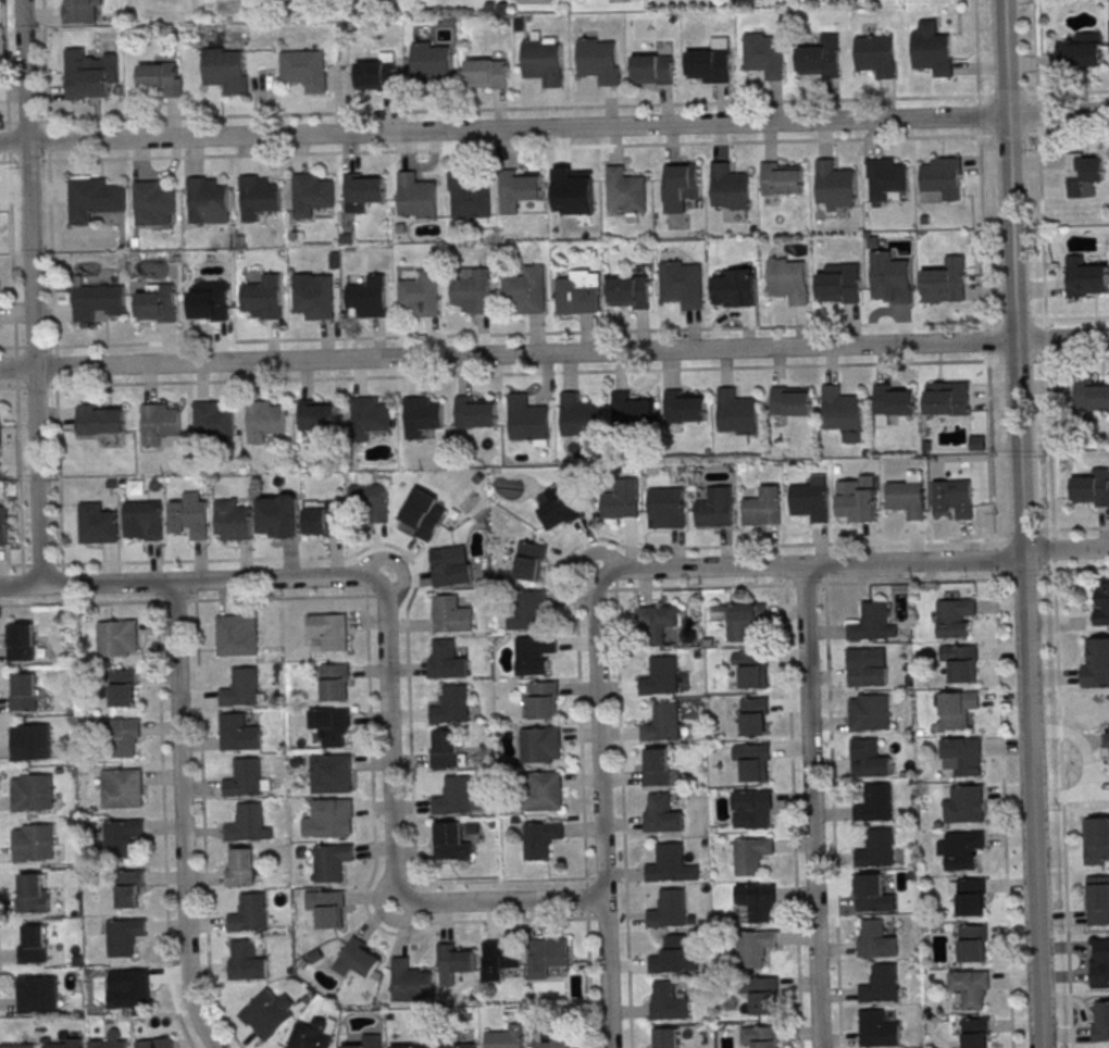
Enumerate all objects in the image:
building: (82, 11)
building: (932, 50)
road: (1035, 50)
road: (975, 51)
building: (1080, 51)
building: (763, 54)
building: (875, 54)
building: (820, 58)
road: (43, 60)
building: (599, 61)
building: (711, 62)
building: (544, 63)
building: (432, 64)
building: (652, 67)
building: (304, 68)
building: (225, 70)
building: (486, 73)
building: (376, 74)
building: (161, 77)
road: (4, 80)
building: (87, 83)
road: (1073, 92)
road: (1006, 93)
road: (1031, 93)
road: (983, 96)
road: (471, 109)
road: (1037, 113)
road: (977, 115)
road: (22, 121)
road: (554, 127)
road: (1073, 132)
road: (1033, 133)
road: (1008, 134)
road: (984, 136)
road: (770, 141)
road: (420, 150)
road: (3, 161)
building: (1084, 174)
building: (885, 176)
building: (780, 178)
building: (940, 179)
building: (680, 182)
building: (834, 183)
building: (728, 186)
building: (362, 189)
building: (519, 189)
building: (624, 189)
building: (571, 190)
building: (310, 195)
building: (468, 195)
building: (415, 196)
building: (259, 198)
building: (92, 199)
building: (207, 200)
building: (152, 203)
road: (982, 224)
road: (1042, 225)
road: (11, 260)
building: (889, 274)
building: (1086, 276)
building: (787, 279)
building: (681, 283)
building: (839, 283)
building: (944, 284)
building: (735, 288)
building: (525, 290)
building: (630, 290)
road: (30, 292)
building: (578, 292)
building: (472, 294)
building: (419, 295)
building: (312, 296)
building: (261, 297)
building: (366, 297)
building: (97, 300)
building: (210, 303)
building: (158, 304)
road: (1076, 317)
road: (1014, 319)
road: (1039, 319)
road: (986, 324)
road: (464, 334)
road: (1045, 338)
road: (986, 341)
road: (554, 352)
road: (1077, 358)
road: (1015, 359)
road: (1042, 359)
road: (525, 373)
road: (8, 387)
building: (1092, 395)
building: (946, 398)
building: (790, 401)
building: (893, 401)
building: (685, 407)
building: (632, 408)
building: (840, 409)
building: (475, 411)
building: (736, 411)
building: (317, 414)
building: (421, 414)
building: (580, 415)
building: (369, 416)
building: (527, 417)
building: (101, 419)
building: (265, 419)
building: (212, 421)
building: (160, 422)
building: (0, 437)
road: (990, 450)
road: (57, 454)
road: (18, 475)
building: (1092, 488)
building: (366, 496)
building: (907, 496)
building: (954, 497)
building: (856, 498)
building: (621, 499)
building: (810, 499)
building: (559, 506)
building: (666, 508)
building: (715, 508)
building: (762, 508)
building: (424, 513)
building: (188, 515)
building: (277, 515)
building: (322, 517)
building: (144, 520)
building: (232, 521)
road: (1021, 523)
building: (97, 524)
road: (1081, 527)
building: (3, 531)
road: (1013, 539)
road: (374, 544)
road: (616, 544)
road: (994, 558)
building: (531, 561)
road: (853, 563)
building: (450, 565)
road: (1075, 569)
road: (824, 571)
road: (1024, 574)
road: (614, 576)
road: (364, 582)
road: (800, 584)
road: (195, 587)
road: (155, 588)
road: (285, 597)
road: (175, 600)
road: (80, 602)
building: (1102, 603)
building: (528, 611)
building: (450, 614)
building: (954, 616)
building: (740, 620)
building: (656, 623)
building: (872, 623)
building: (328, 631)
building: (236, 634)
building: (119, 638)
building: (22, 641)
road: (385, 652)
building: (533, 654)
building: (446, 661)
building: (960, 662)
building: (1096, 664)
building: (867, 666)
building: (751, 668)
building: (660, 676)
building: (335, 683)
building: (123, 686)
building: (240, 687)
building: (24, 691)
building: (544, 700)
road: (1058, 700)
building: (451, 706)
building: (956, 709)
building: (869, 712)
building: (750, 715)
building: (662, 723)
building: (331, 724)
building: (238, 733)
building: (119, 737)
building: (30, 741)
building: (539, 744)
building: (446, 749)
building: (962, 756)
building: (870, 757)
building: (752, 761)
building: (658, 770)
building: (331, 773)
building: (245, 777)
building: (122, 788)
building: (543, 790)
building: (33, 791)
building: (453, 796)
building: (874, 803)
building: (963, 804)
road: (793, 807)
road: (810, 807)
building: (751, 809)
road: (1002, 810)
road: (600, 812)
road: (832, 813)
road: (623, 814)
building: (661, 814)
building: (333, 815)
road: (180, 818)
road: (163, 823)
building: (245, 823)
road: (202, 824)
building: (121, 836)
building: (540, 839)
building: (1095, 840)
building: (451, 841)
building: (34, 843)
building: (876, 848)
building: (960, 849)
building: (750, 854)
building: (332, 861)
building: (670, 864)
building: (241, 865)
road: (371, 875)
road: (504, 879)
road: (399, 883)
building: (129, 887)
building: (869, 891)
building: (33, 894)
building: (970, 896)
road: (415, 897)
road: (586, 898)
building: (756, 900)
building: (1097, 900)
building: (326, 908)
building: (668, 909)
building: (249, 914)
building: (124, 936)
building: (875, 940)
building: (34, 944)
building: (972, 944)
building: (755, 948)
building: (670, 955)
building: (546, 957)
building: (358, 958)
building: (498, 960)
building: (246, 961)
building: (1099, 961)
building: (452, 963)
road: (588, 980)
building: (409, 981)
building: (880, 984)
building: (130, 986)
building: (970, 987)
building: (38, 993)
building: (763, 996)
building: (666, 1001)
building: (269, 1011)
building: (1100, 1021)
building: (877, 1028)
building: (975, 1033)
building: (311, 1035)
building: (506, 1037)
building: (760, 1037)
building: (664, 1038)
building: (551, 1039)
building: (111, 1041)
building: (366, 1041)
building: (62, 1043)
building: (154, 1043)
building: (408, 1046)
building: (457, 1046)
building: (20, 1047)

